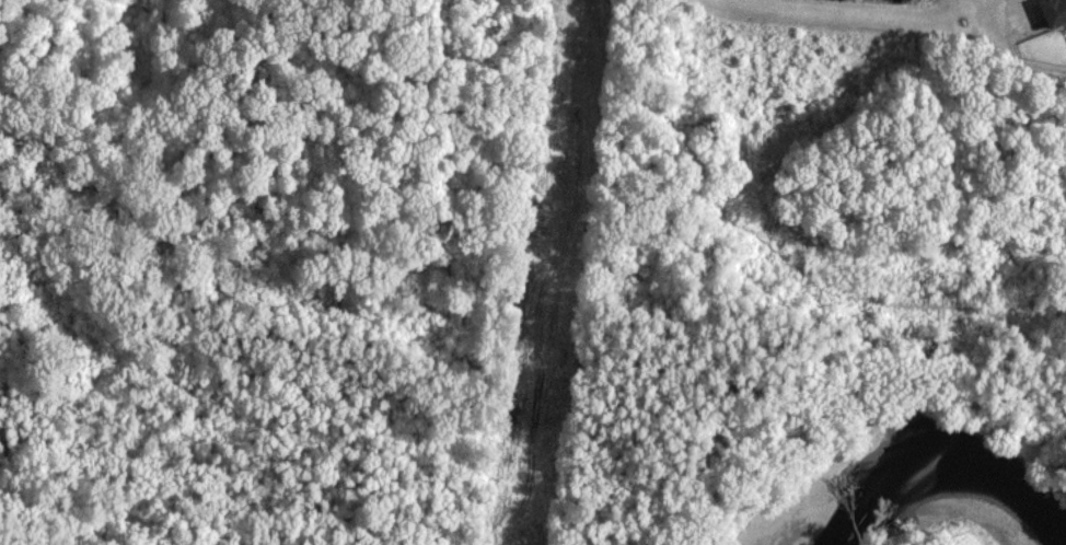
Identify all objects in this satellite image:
building: (1056, 12)
river: (937, 455)

